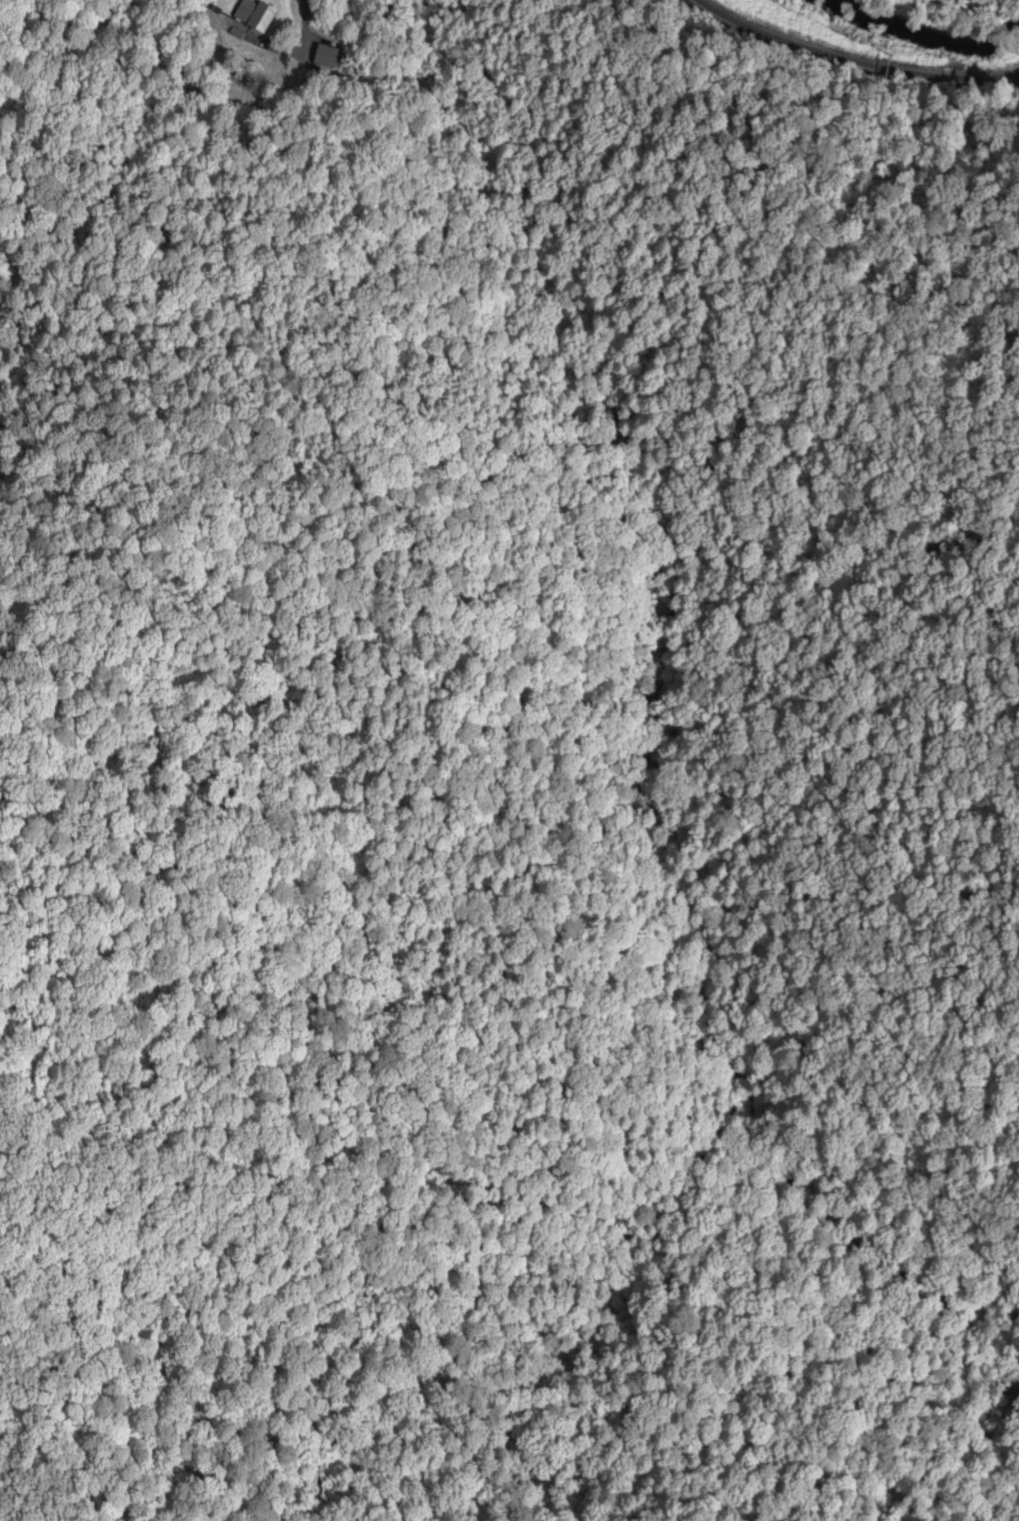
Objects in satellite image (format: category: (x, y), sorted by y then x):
quarry: (968, 1)
building: (254, 16)
road: (303, 29)
river: (880, 46)
building: (329, 58)
road: (844, 68)

